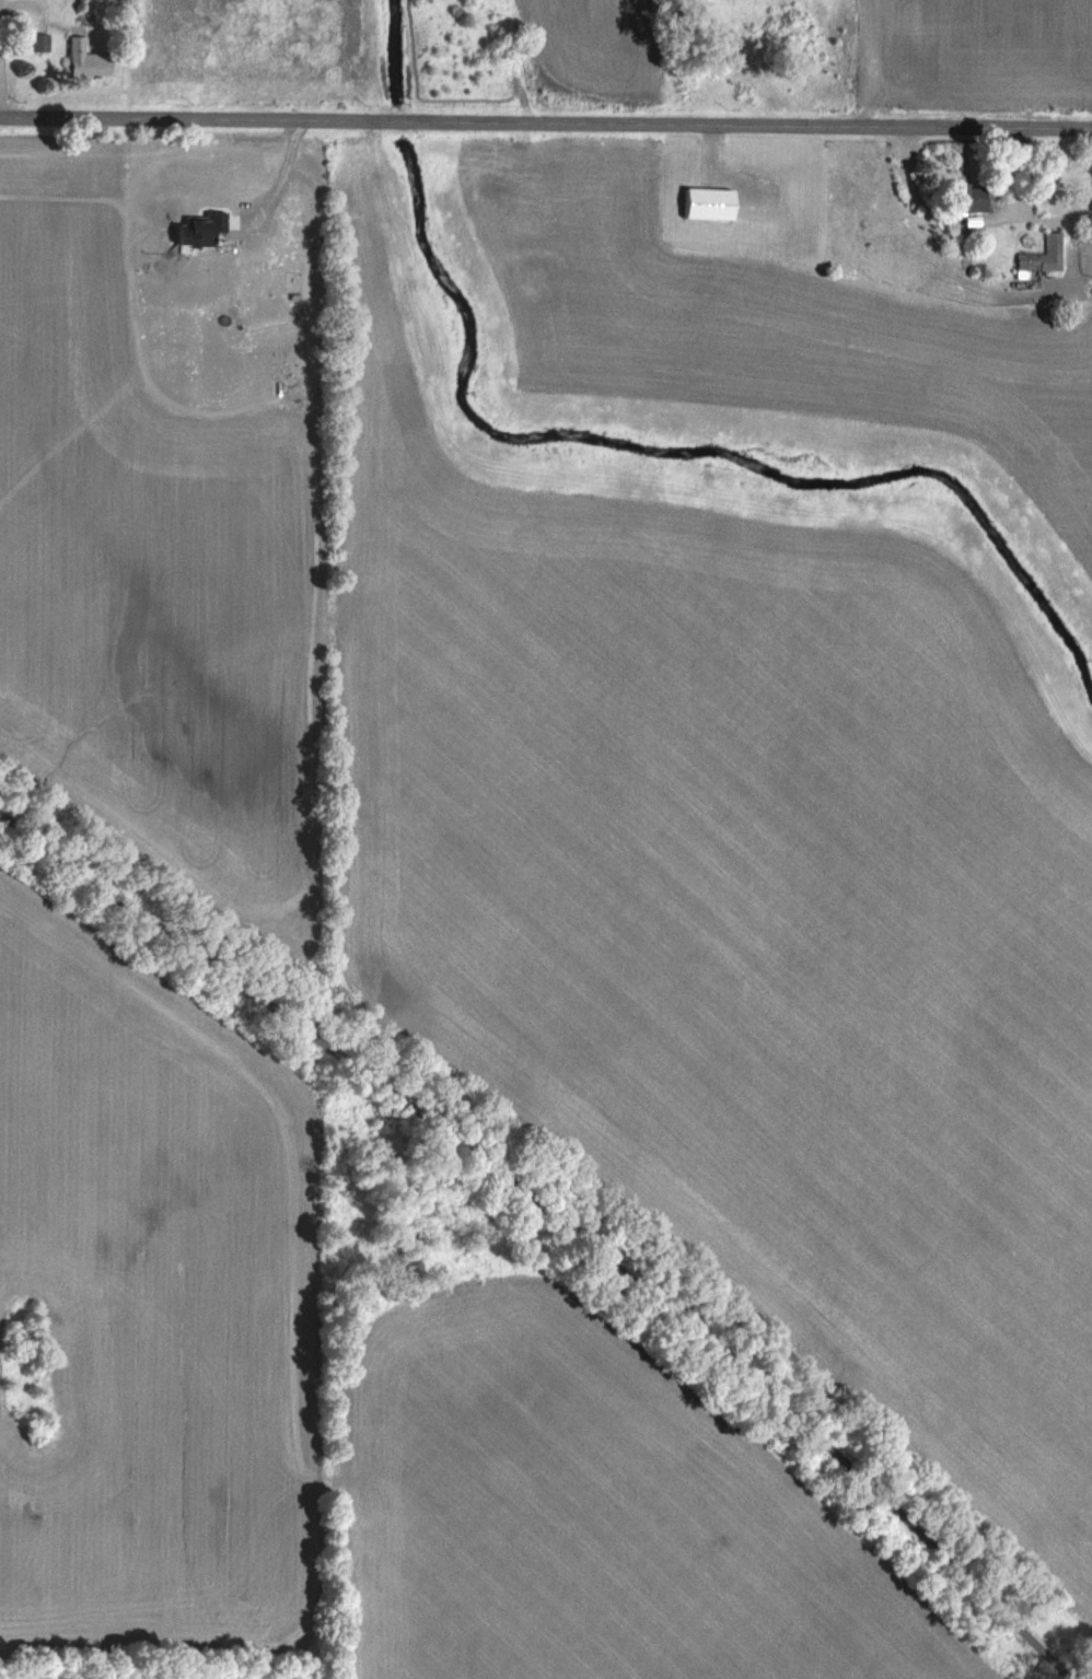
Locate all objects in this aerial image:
road: (30, 11)
building: (37, 43)
building: (81, 60)
road: (0, 89)
road: (546, 121)
building: (964, 199)
building: (706, 203)
road: (956, 228)
building: (1041, 256)
road: (565, 1197)

